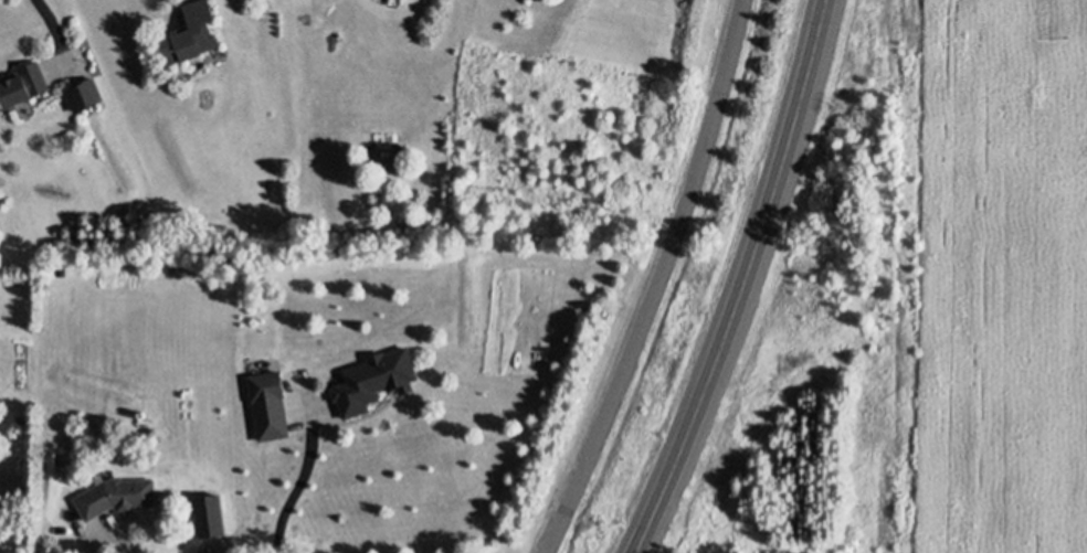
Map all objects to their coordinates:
road: (57, 26)
building: (191, 30)
building: (22, 79)
building: (84, 89)
road: (658, 280)
road: (745, 280)
crop: (998, 280)
building: (374, 375)
building: (268, 401)
road: (299, 482)
building: (116, 492)

